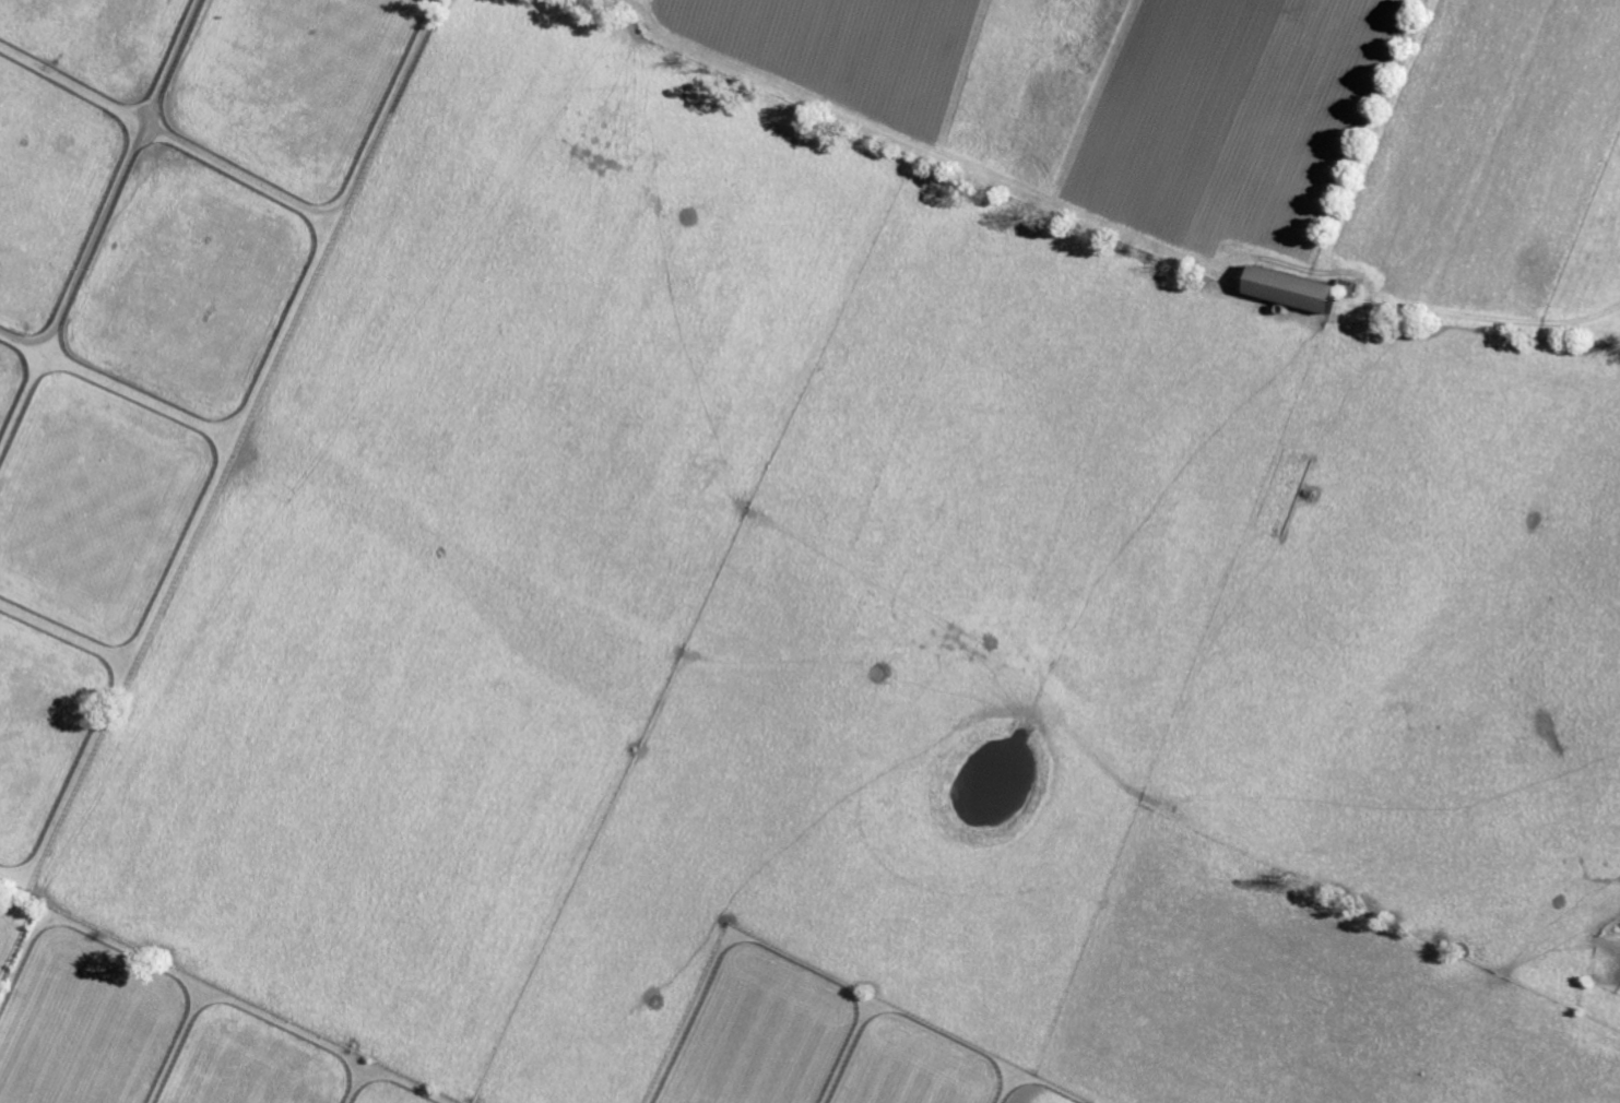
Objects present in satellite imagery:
building: (1303, 288)

